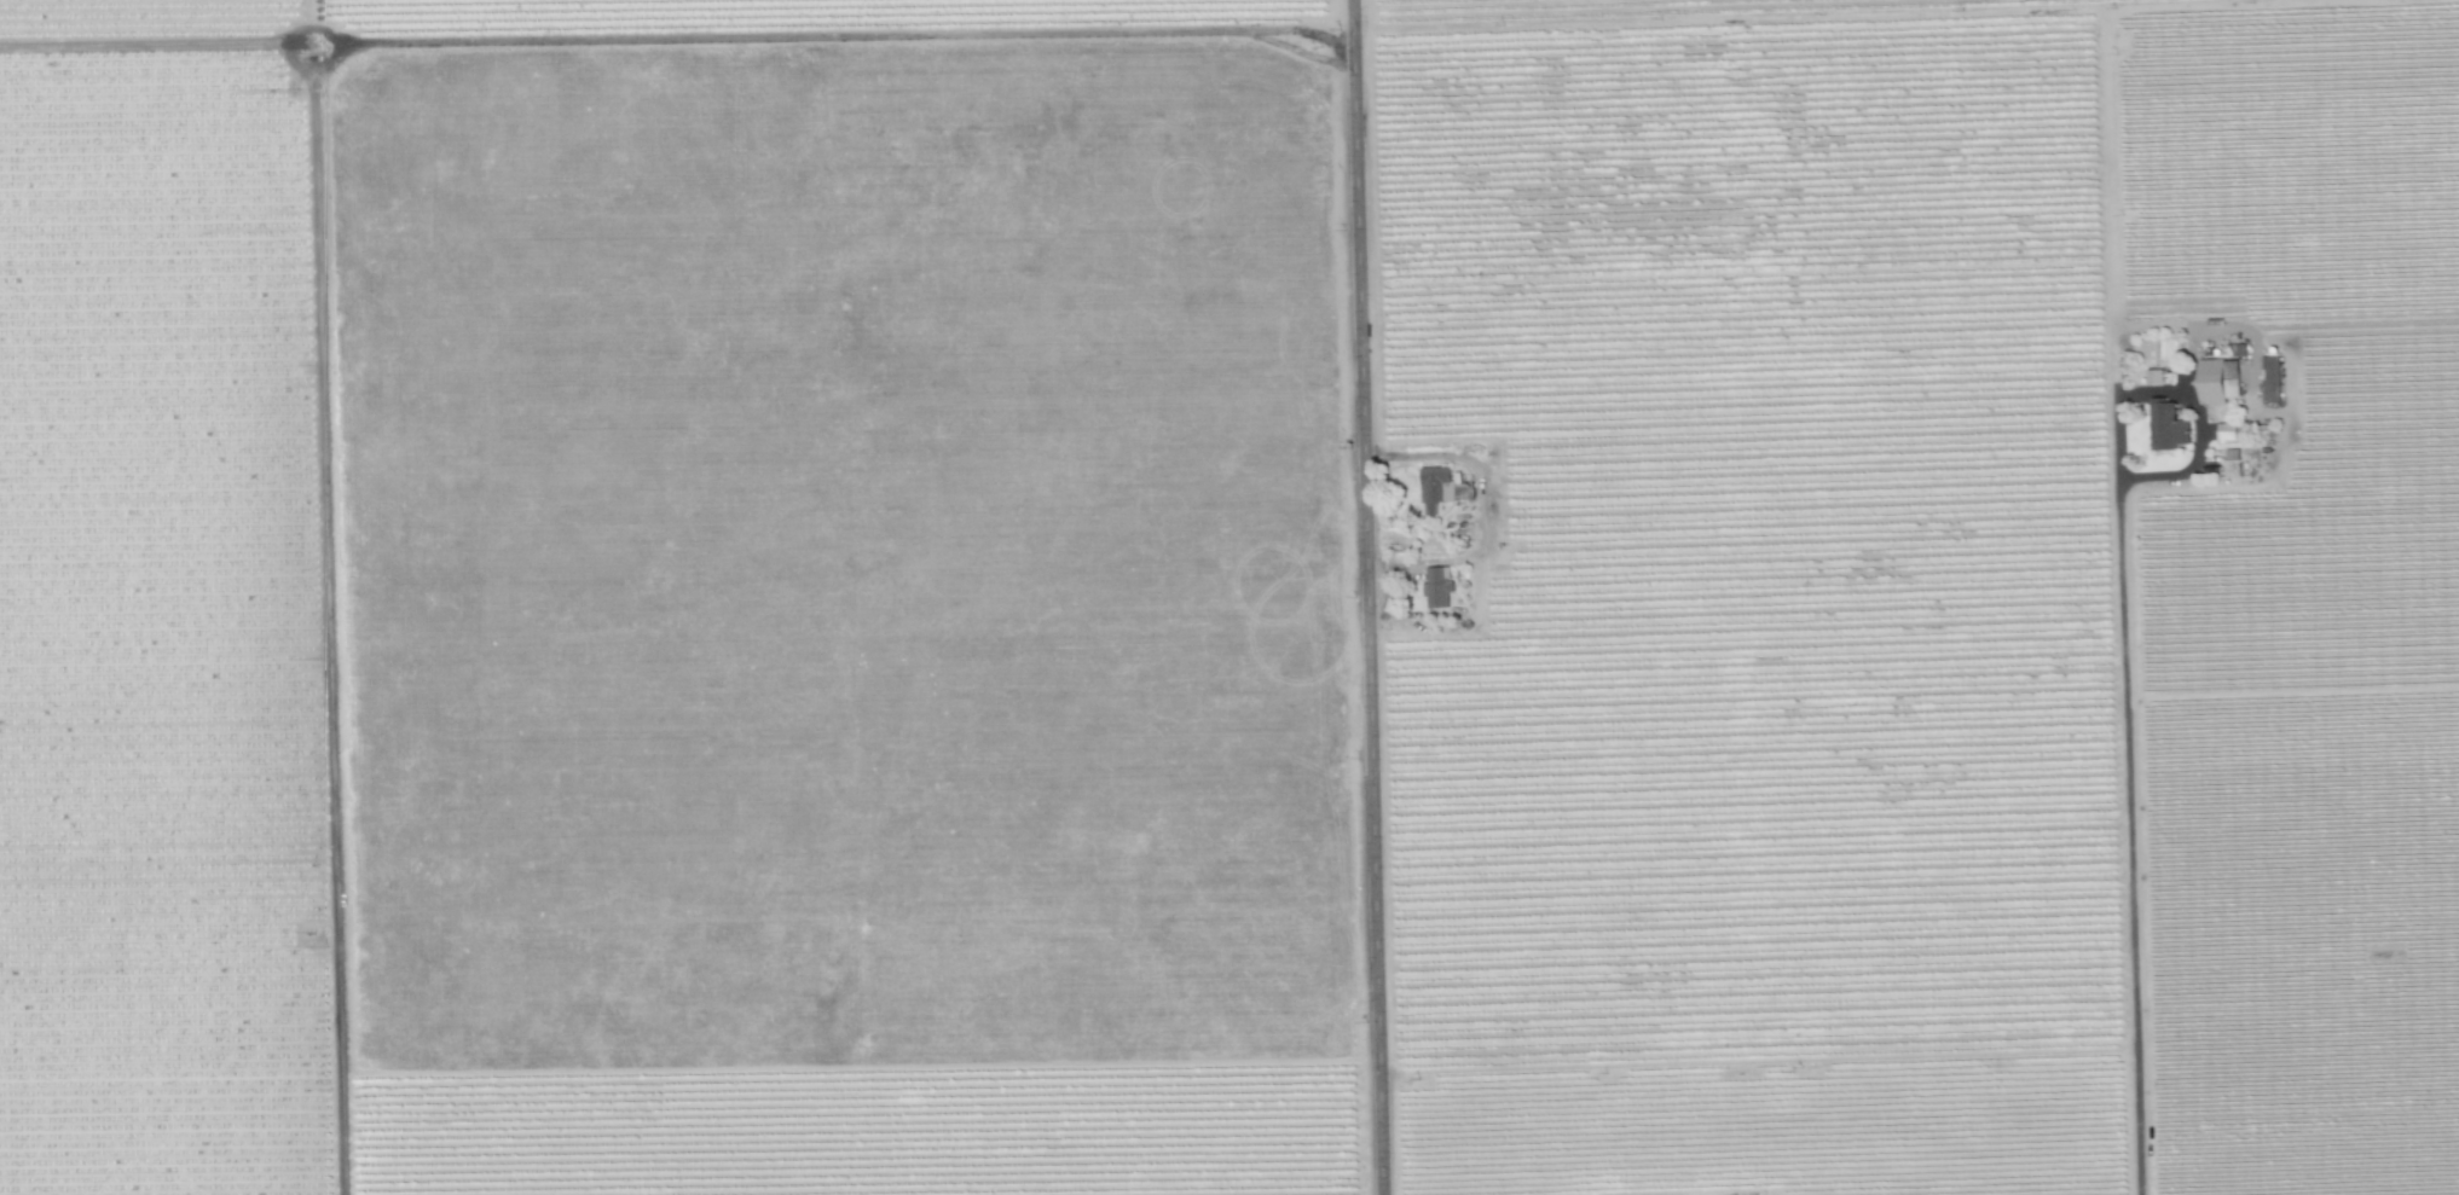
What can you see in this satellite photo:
building: (2217, 379)
building: (2166, 427)
building: (2224, 430)
building: (1434, 487)
road: (1371, 597)
road: (2129, 837)

